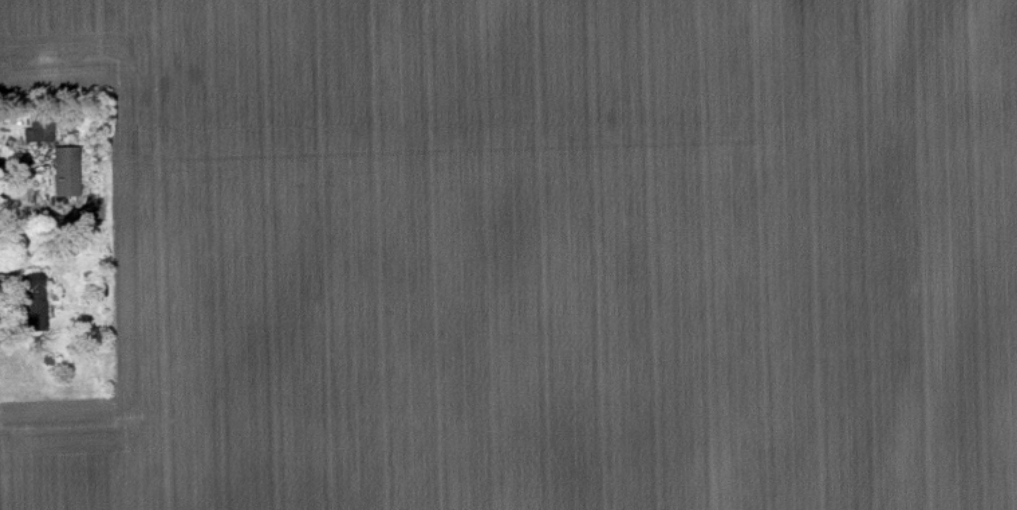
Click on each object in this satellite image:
building: (38, 129)
building: (65, 159)
building: (35, 299)

